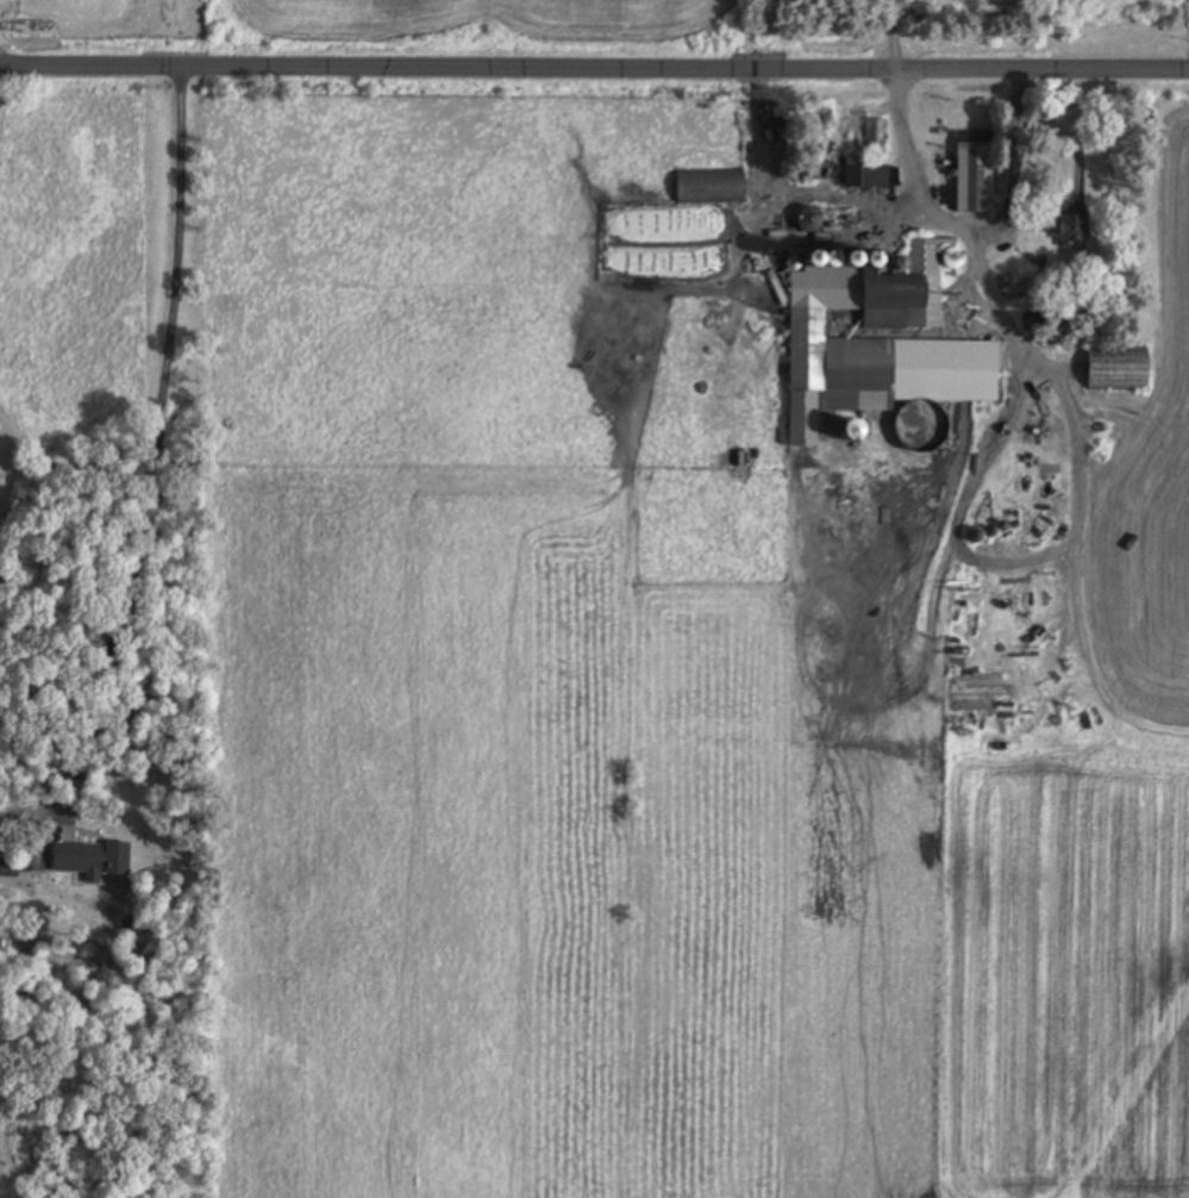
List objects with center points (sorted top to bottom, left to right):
road: (594, 65)
building: (871, 160)
building: (975, 173)
building: (712, 187)
building: (809, 219)
building: (1075, 224)
building: (880, 345)
road: (161, 425)
crop: (655, 706)
building: (95, 861)

